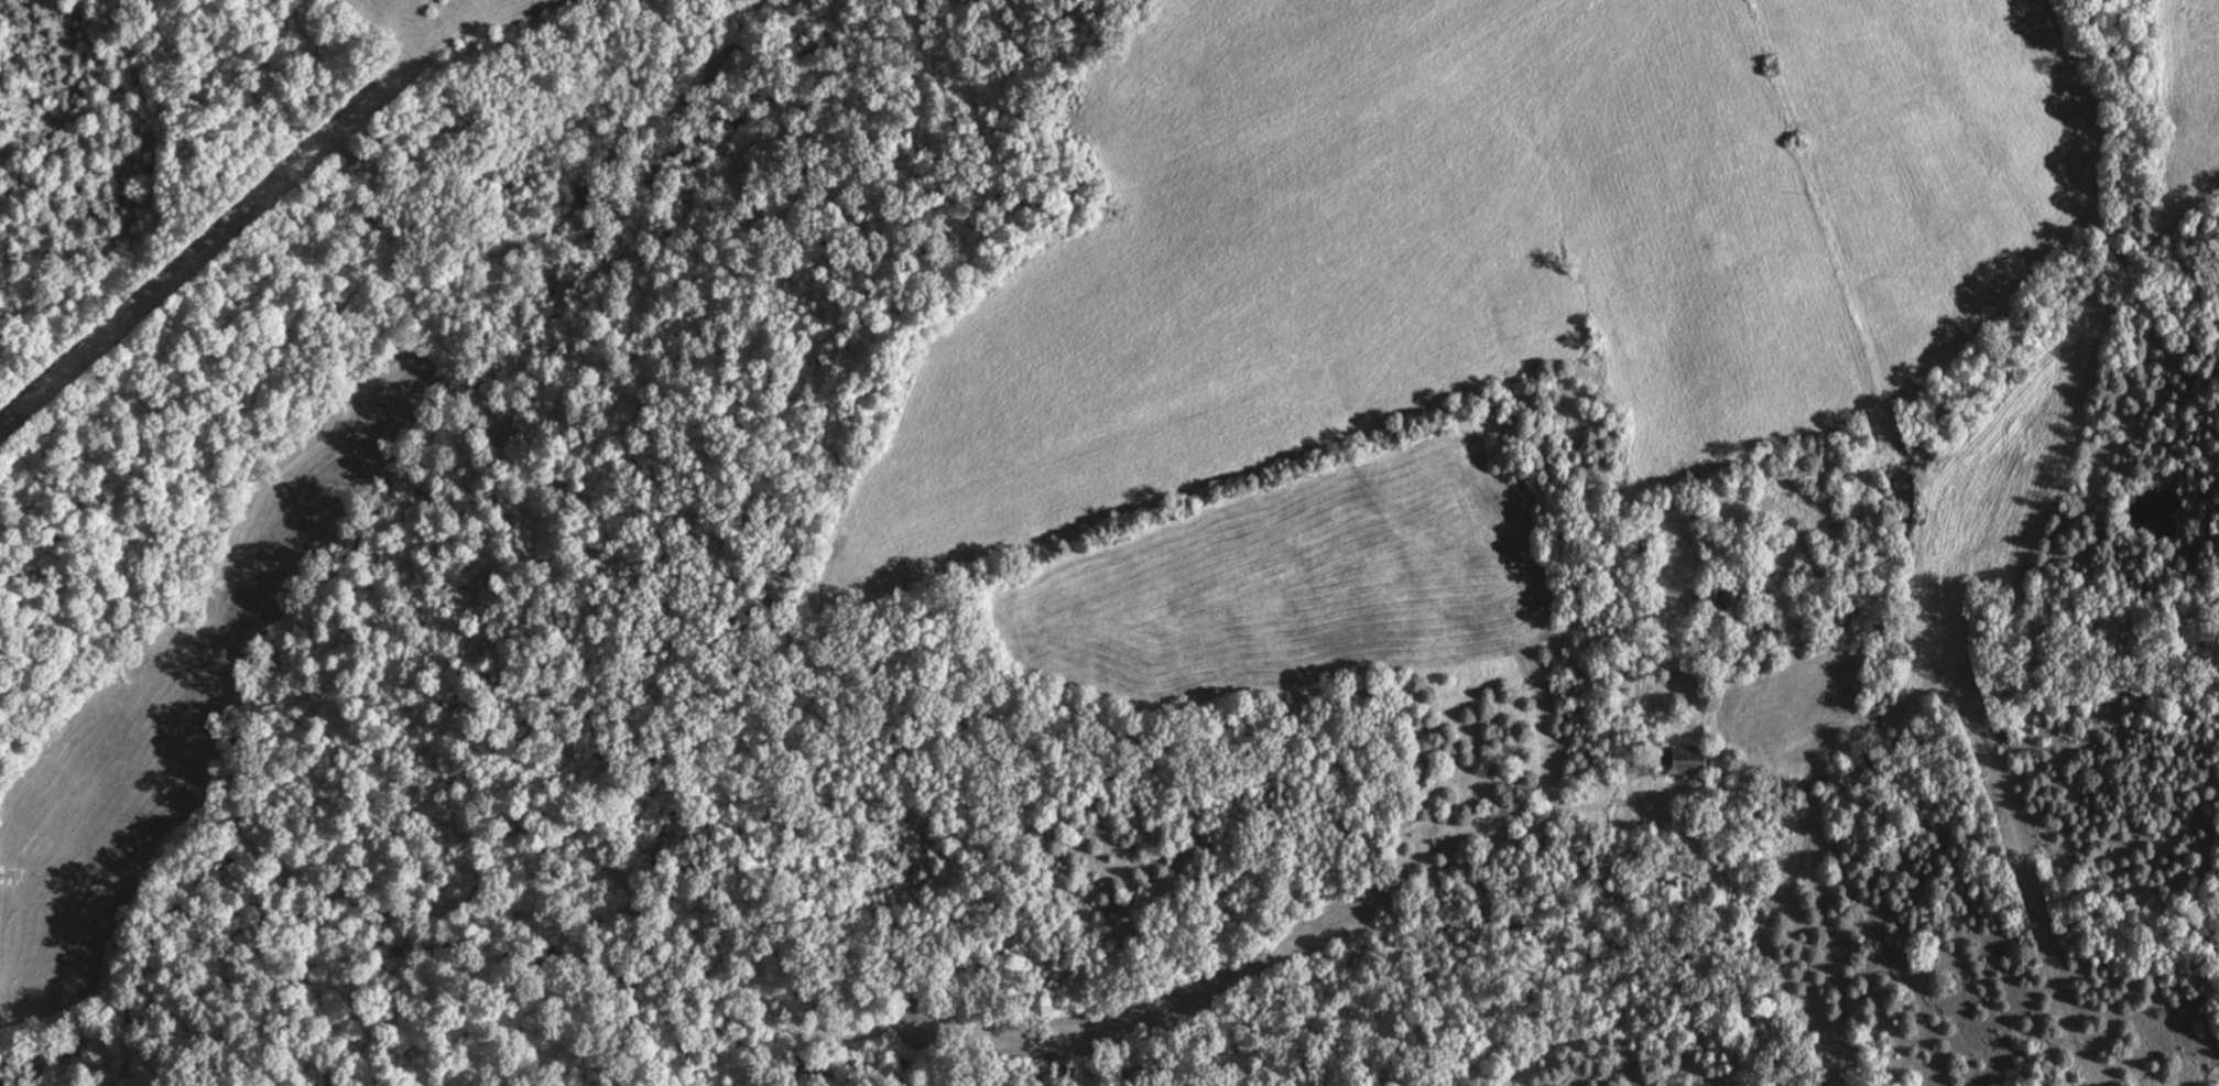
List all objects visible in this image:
building: (1684, 759)

